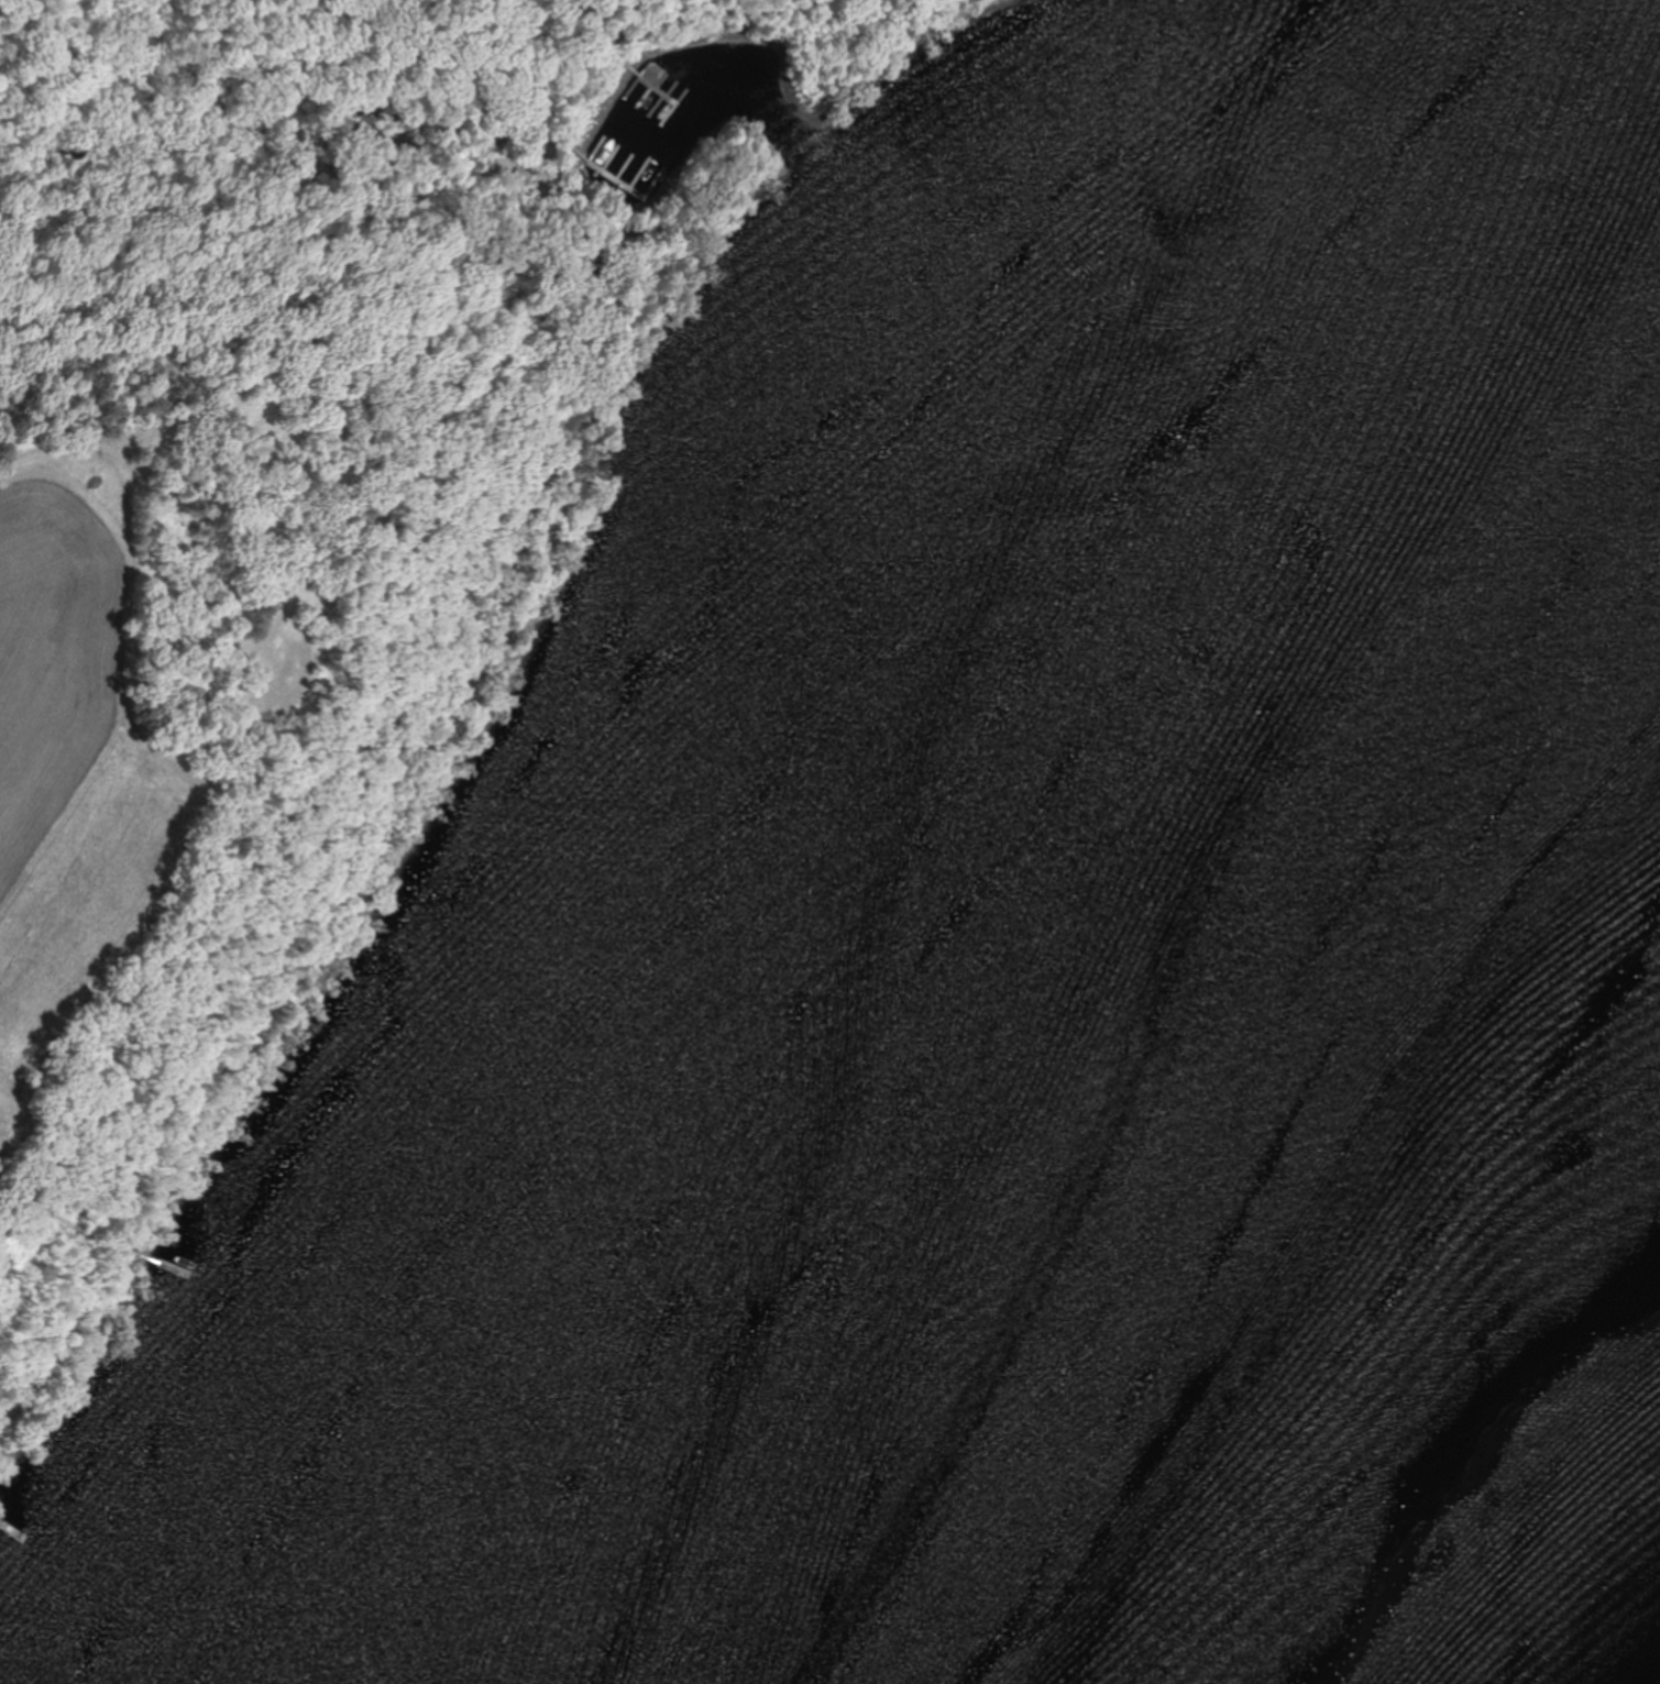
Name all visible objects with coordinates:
building: (613, 159)
river: (1219, 1088)

